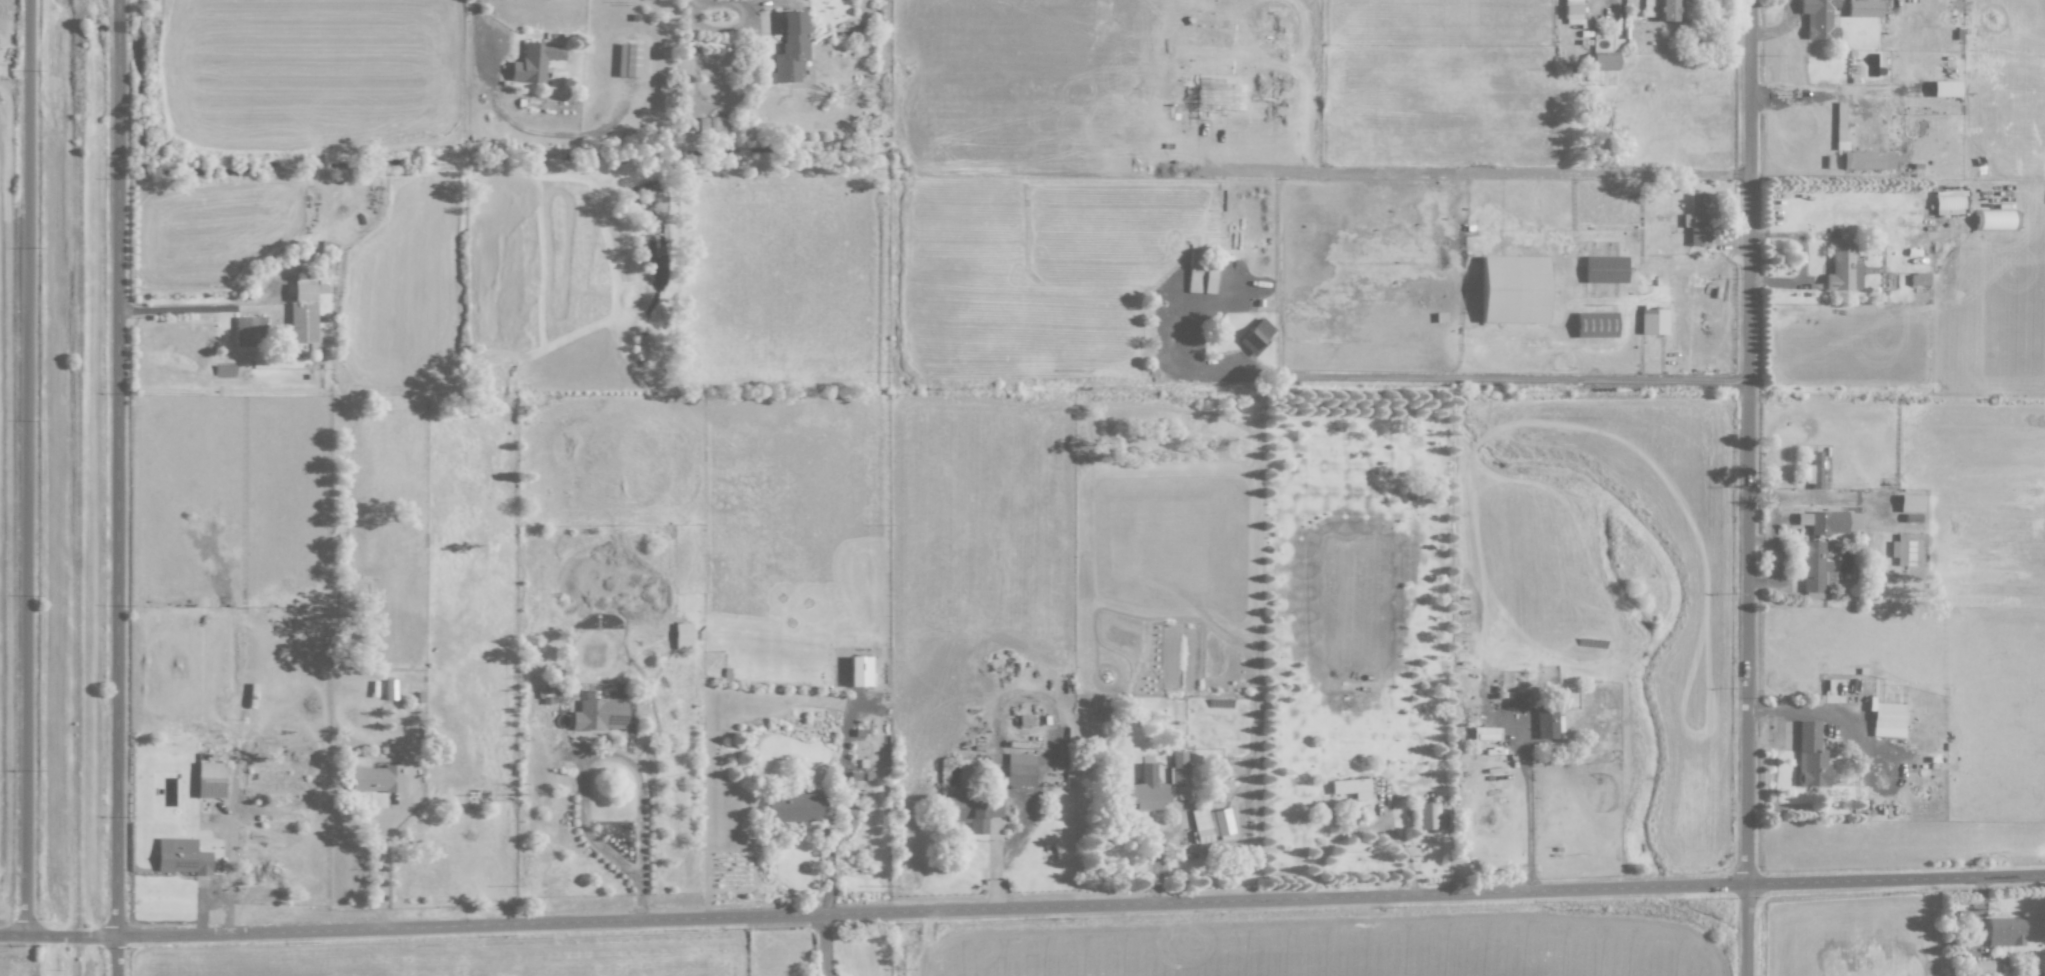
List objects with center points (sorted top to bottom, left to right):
road: (761, 1)
building: (1863, 8)
road: (1597, 9)
building: (1660, 9)
building: (1572, 11)
road: (746, 16)
building: (1818, 19)
road: (1783, 27)
road: (478, 36)
road: (1700, 42)
road: (1925, 46)
building: (789, 49)
building: (630, 60)
building: (534, 61)
building: (1603, 61)
road: (693, 76)
building: (1944, 88)
building: (713, 126)
building: (1839, 131)
building: (1867, 160)
building: (1699, 217)
road: (1804, 256)
building: (1604, 269)
building: (1843, 269)
road: (1719, 270)
building: (1200, 274)
building: (1513, 289)
building: (303, 291)
road: (552, 291)
road: (171, 311)
building: (1653, 321)
building: (301, 323)
building: (1595, 324)
building: (249, 331)
building: (1255, 336)
road: (1709, 341)
road: (1422, 376)
road: (1750, 442)
road: (29, 467)
building: (1813, 470)
road: (120, 488)
road: (1818, 496)
building: (1910, 503)
building: (1911, 517)
building: (1830, 521)
road: (1776, 541)
building: (1905, 549)
building: (1814, 569)
road: (1760, 581)
building: (682, 635)
building: (858, 671)
building: (1514, 700)
building: (599, 712)
building: (1886, 716)
road: (1832, 720)
building: (1548, 723)
building: (1485, 733)
building: (1810, 756)
road: (848, 769)
building: (1019, 769)
road: (235, 777)
building: (210, 779)
building: (375, 779)
building: (1350, 787)
road: (640, 788)
building: (1153, 790)
road: (1023, 797)
road: (1530, 803)
building: (794, 807)
building: (973, 809)
building: (1426, 815)
road: (214, 817)
road: (1394, 819)
road: (1028, 823)
building: (1223, 823)
building: (1200, 825)
road: (1366, 827)
road: (848, 830)
road: (590, 832)
road: (383, 834)
road: (997, 840)
road: (830, 846)
road: (231, 847)
road: (1157, 848)
building: (182, 856)
road: (203, 901)
road: (1022, 908)
road: (1950, 923)
road: (1750, 930)
building: (2005, 931)
road: (1985, 934)
road: (825, 945)
road: (1972, 957)
building: (1983, 966)

